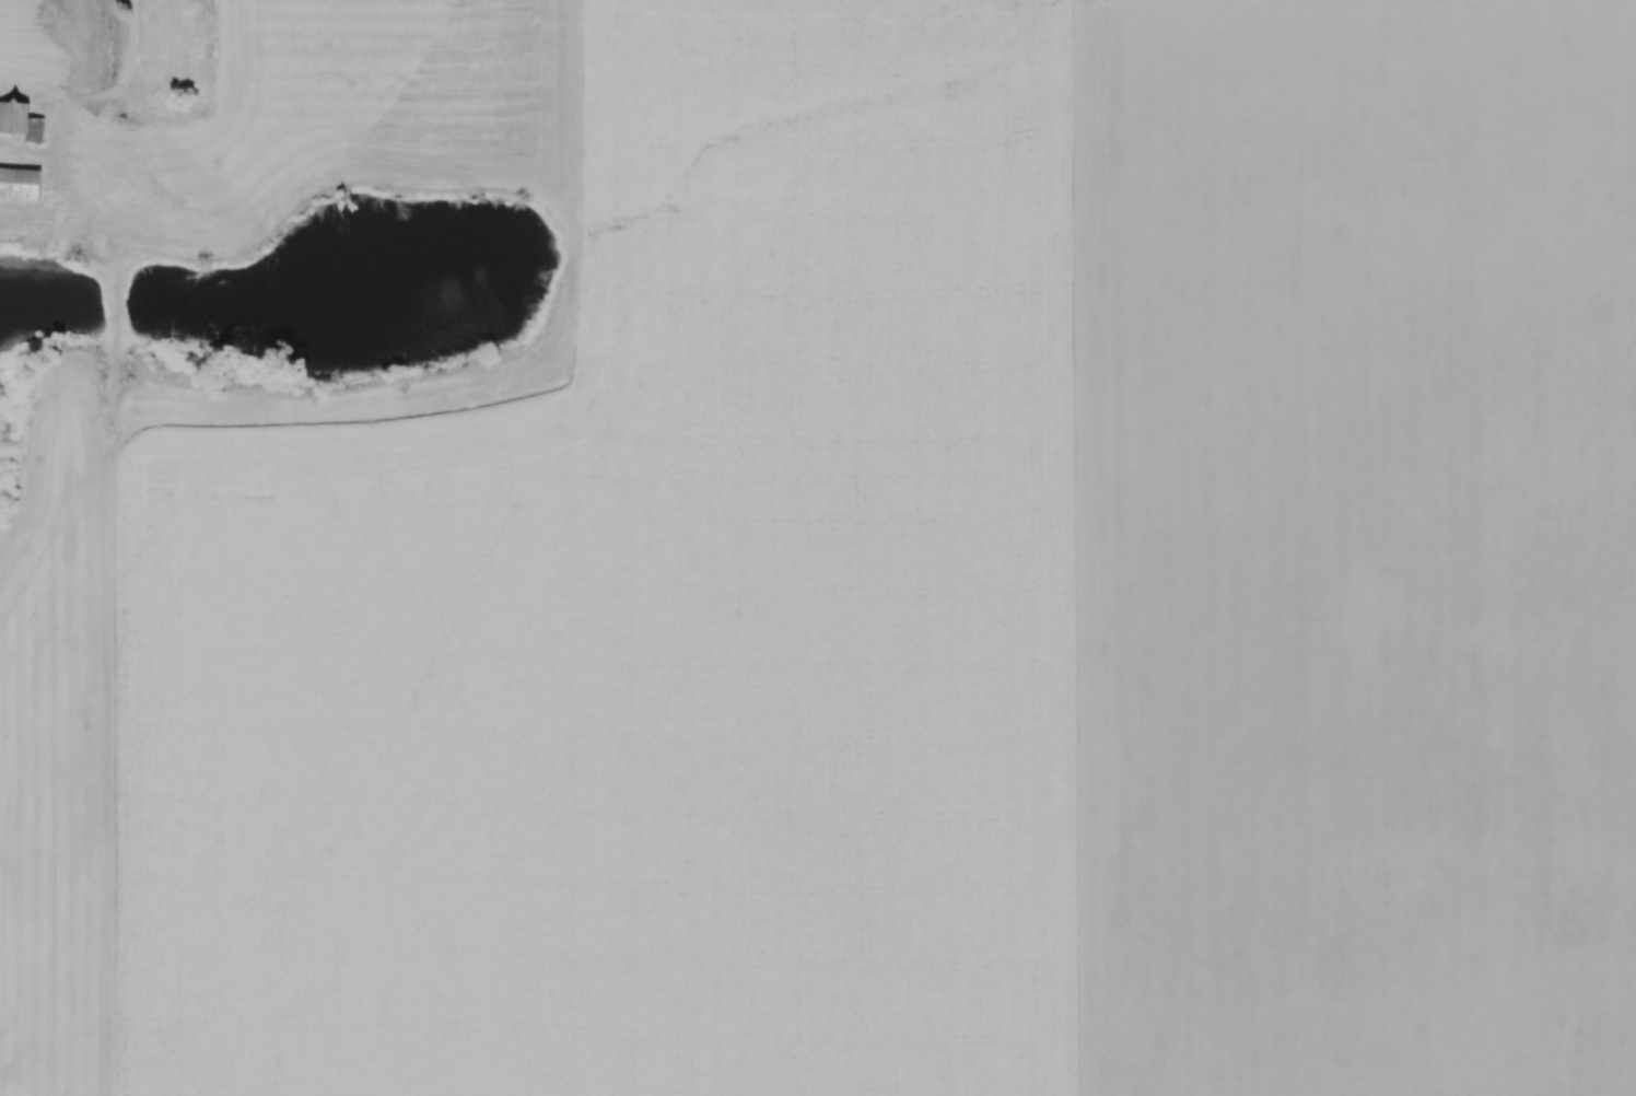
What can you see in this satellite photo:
road: (113, 91)
building: (17, 183)

